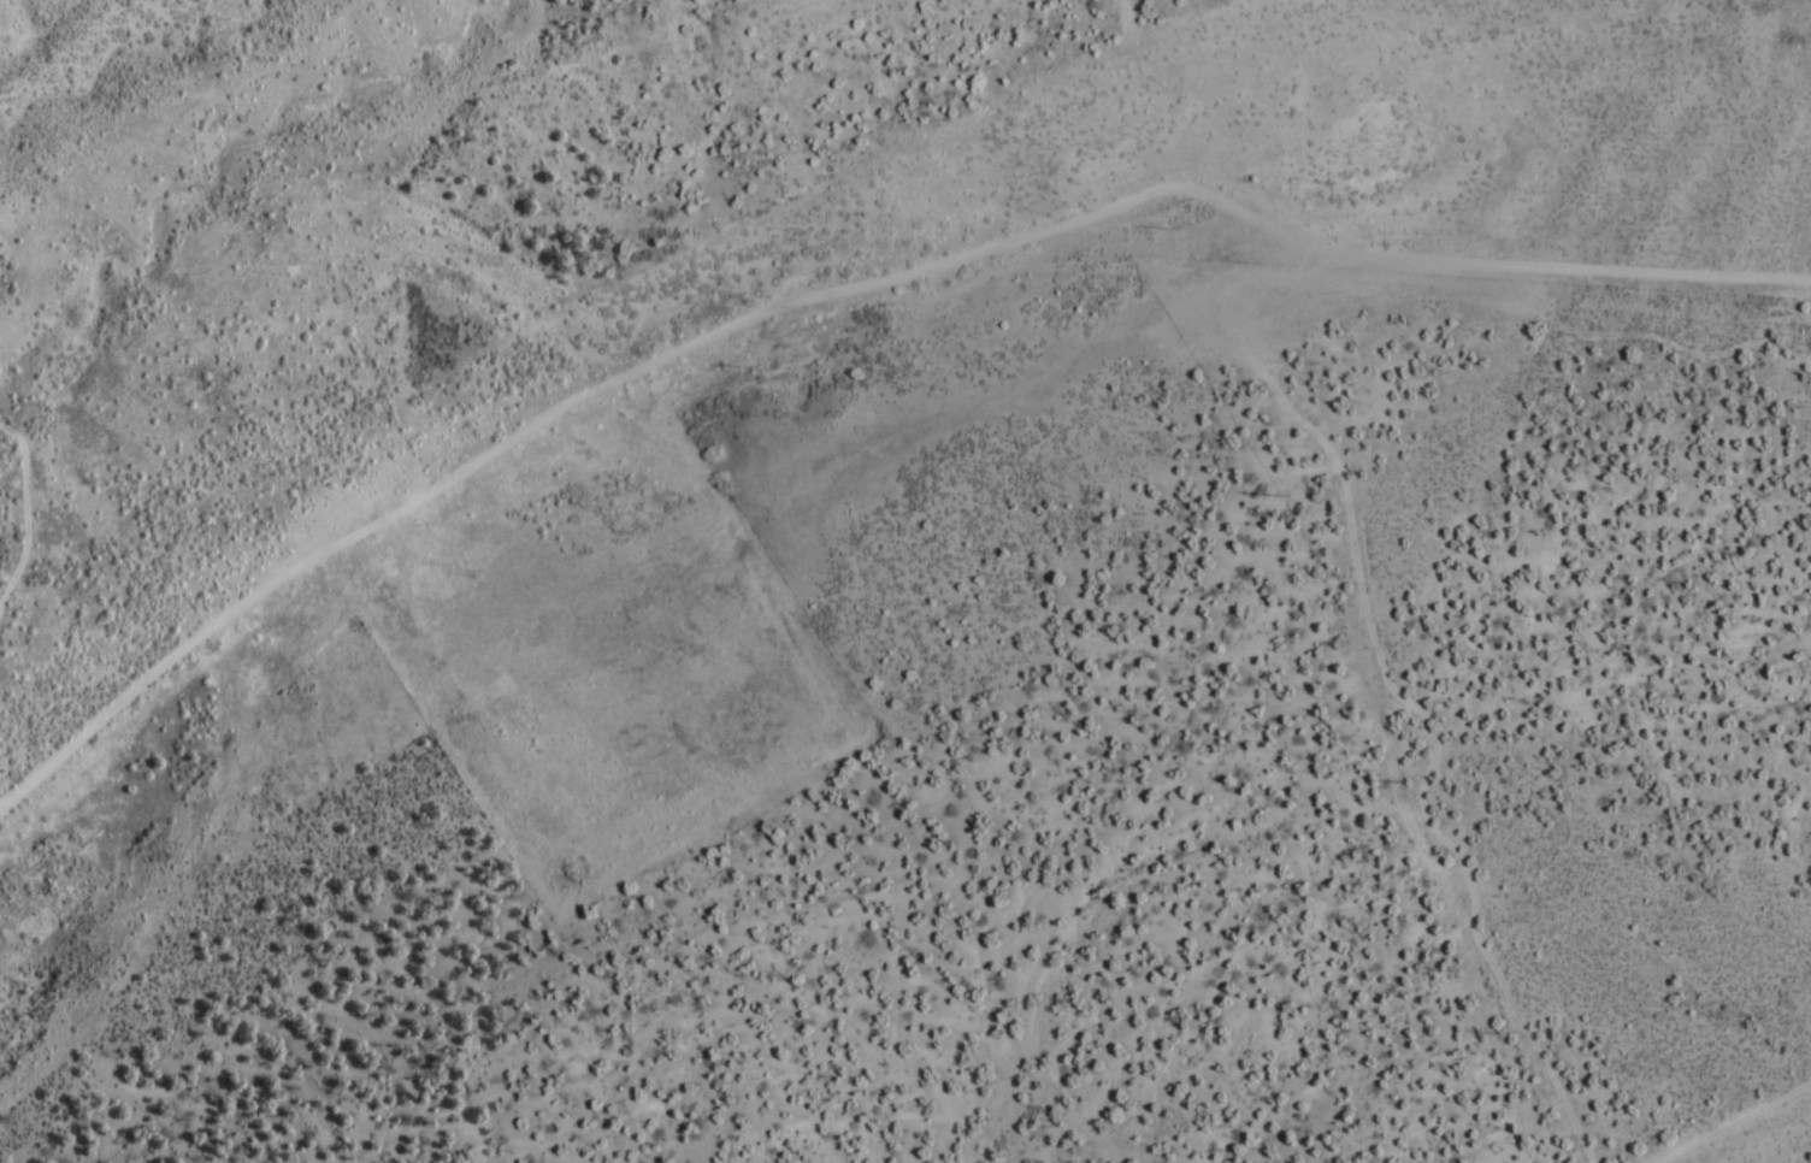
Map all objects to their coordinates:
road: (1075, 126)
road: (748, 313)
road: (99, 684)

